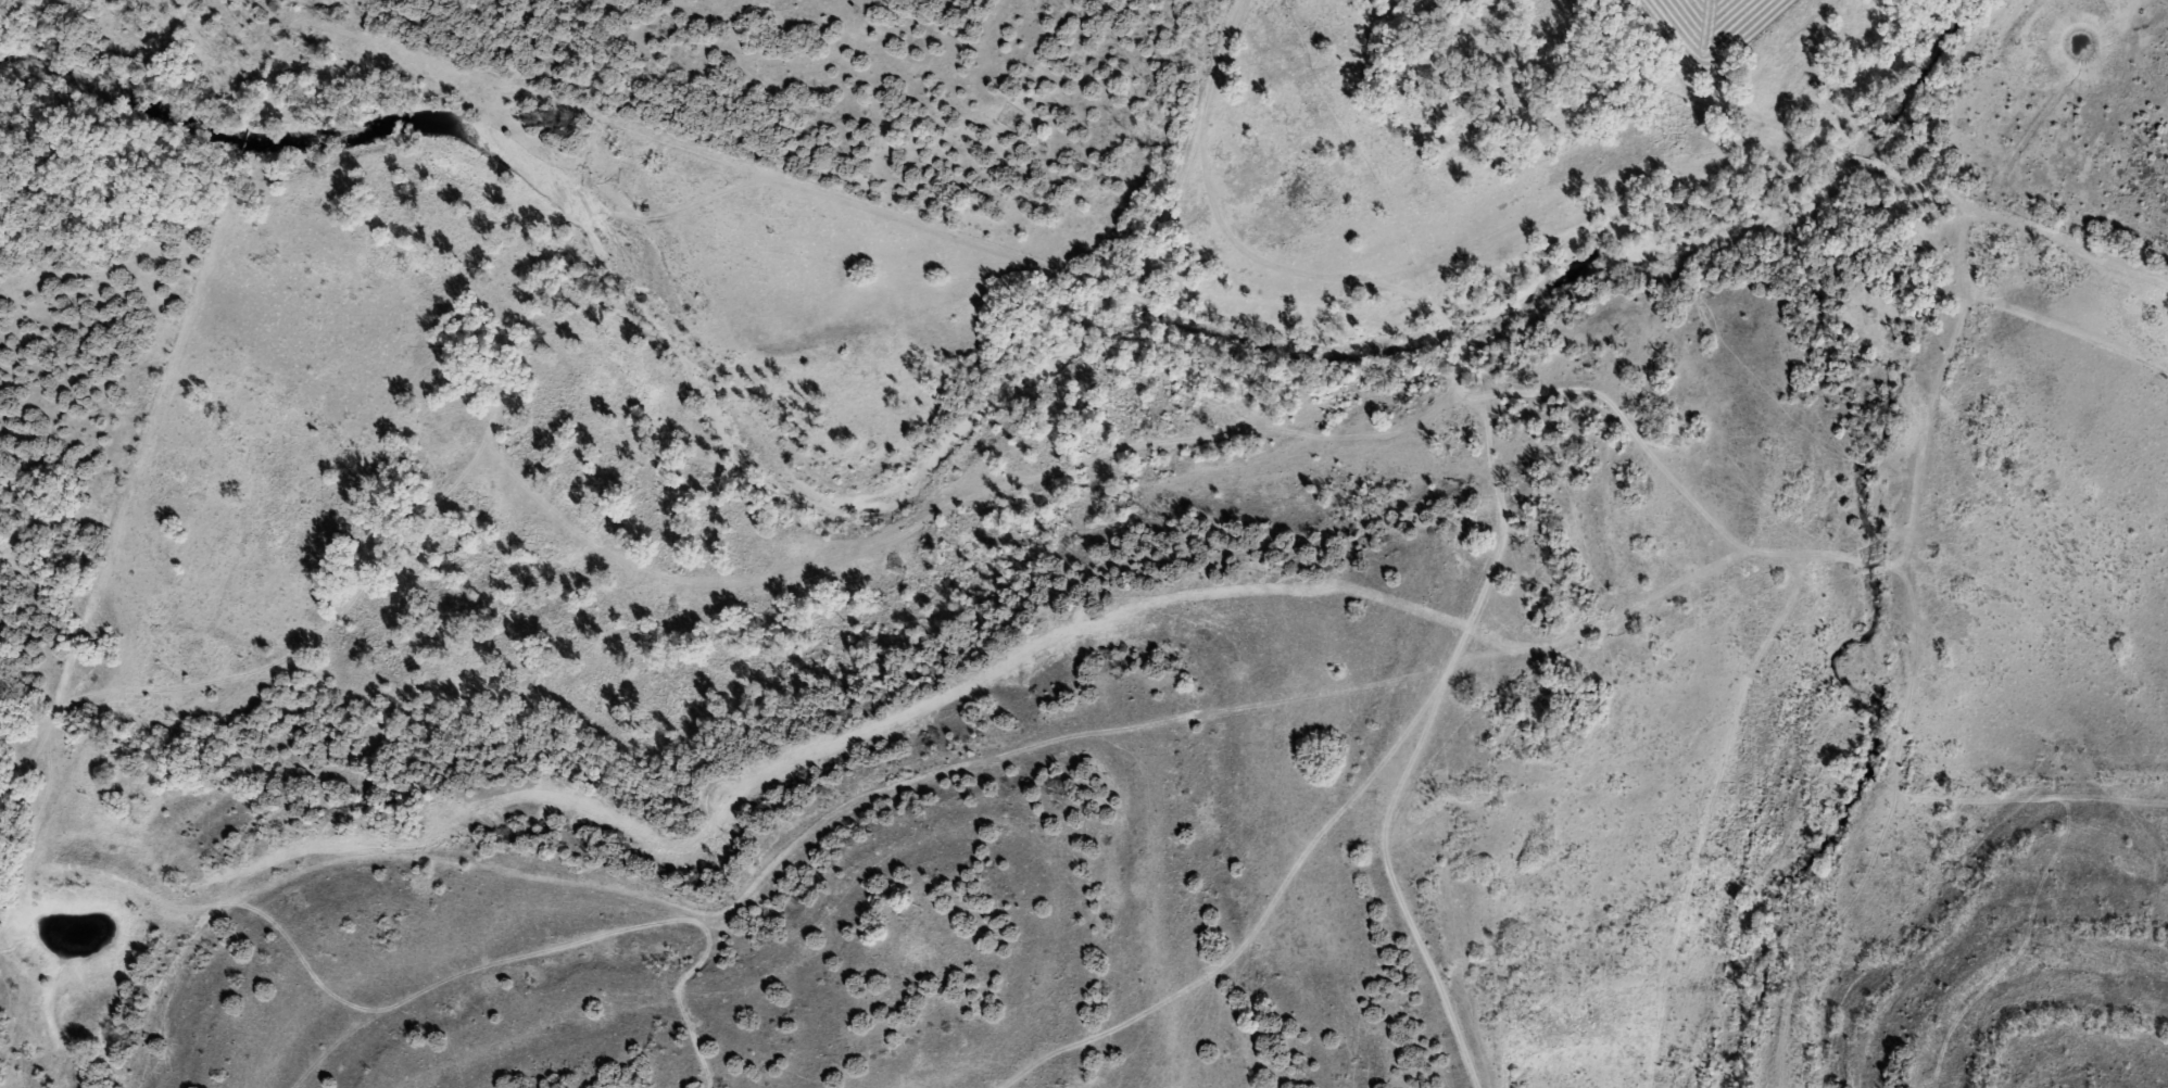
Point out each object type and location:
road: (757, 641)

